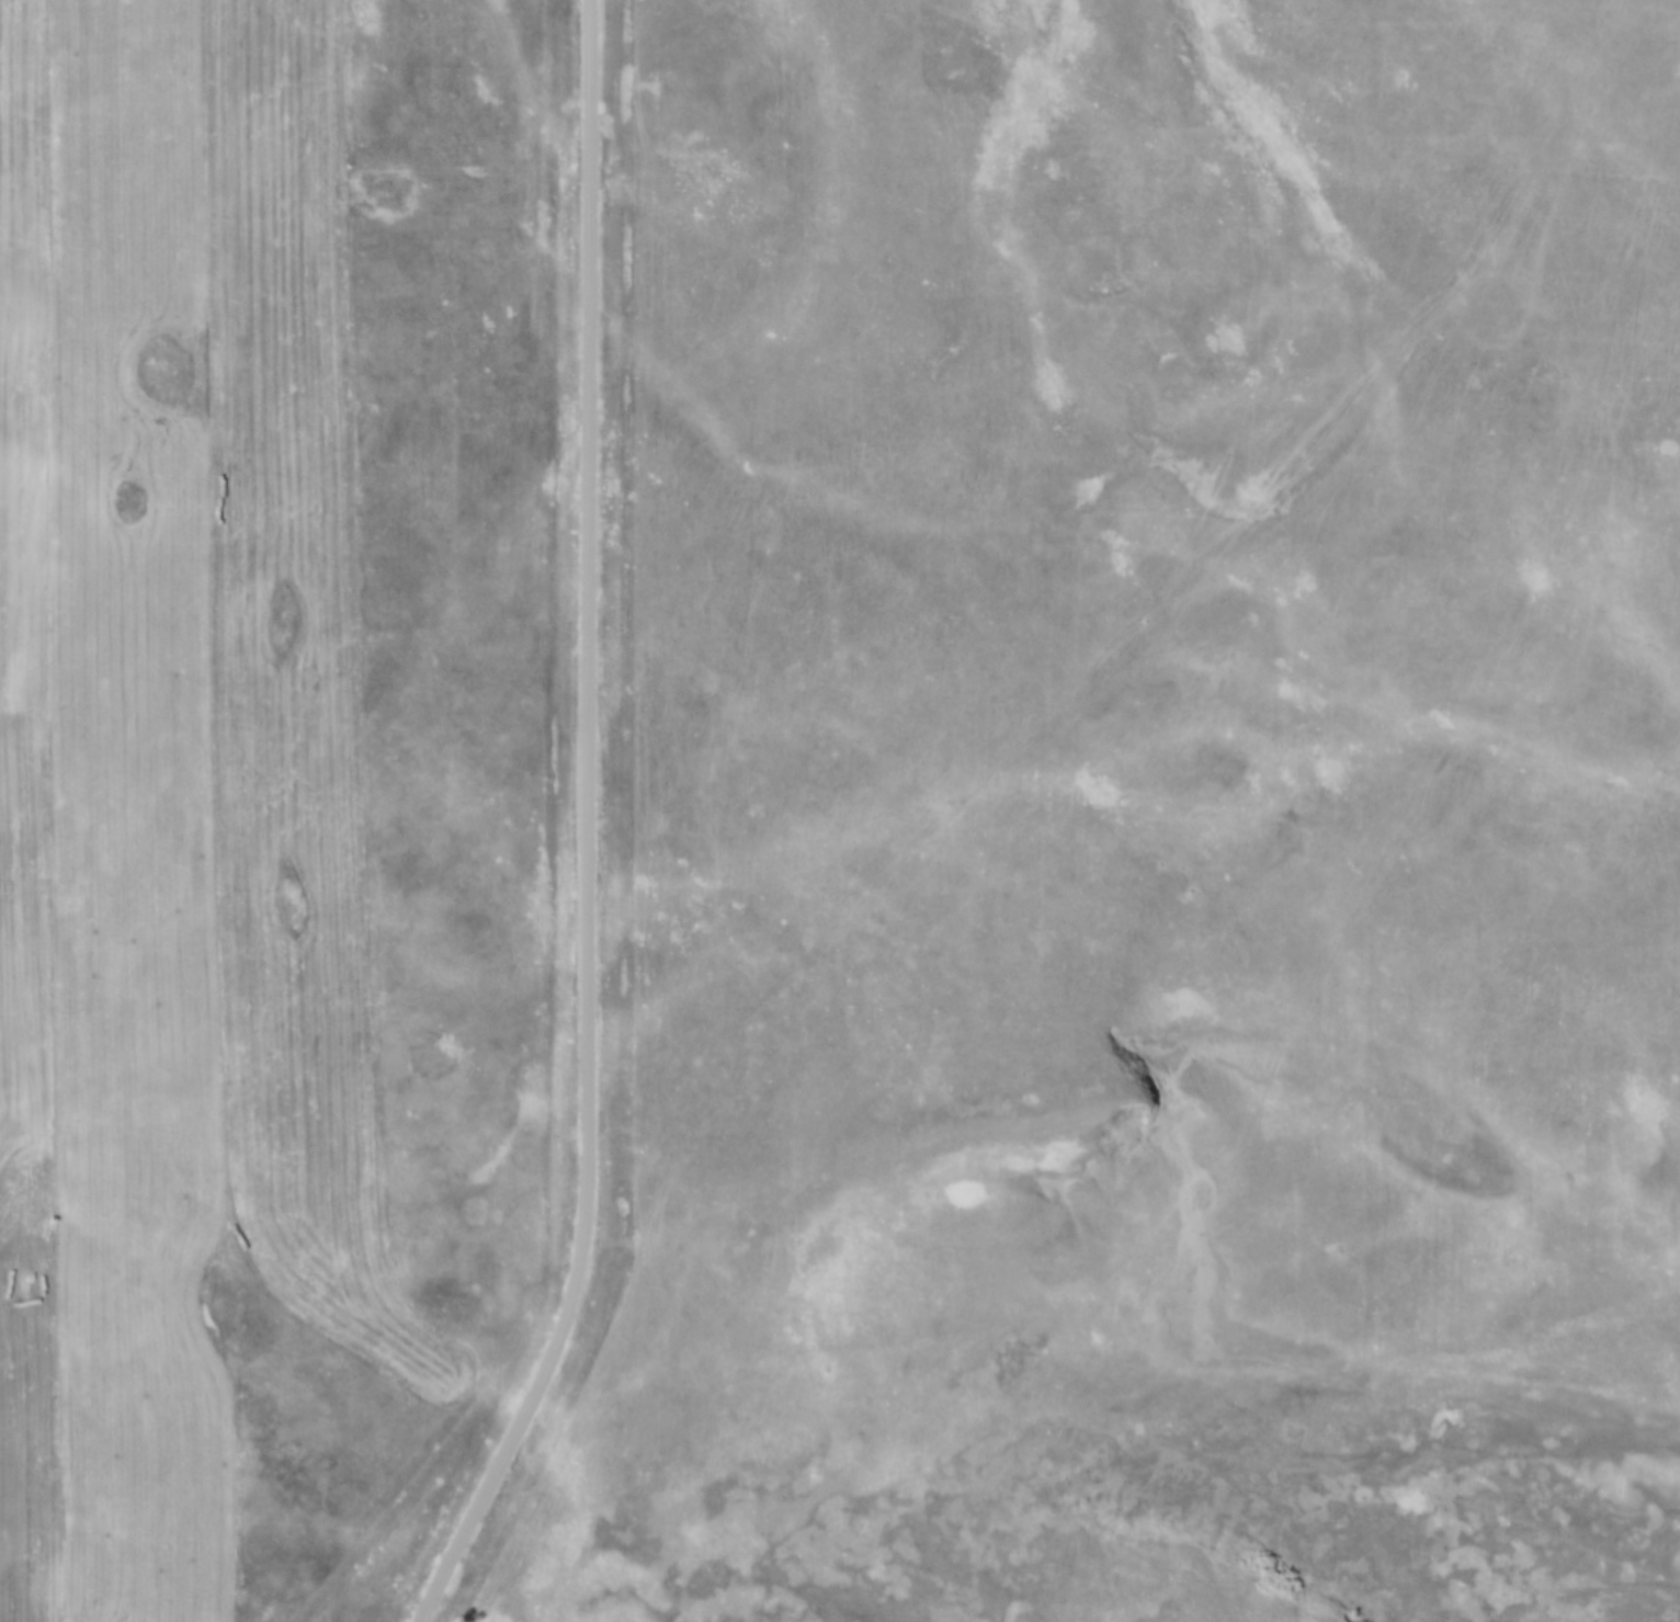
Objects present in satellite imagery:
road: (589, 830)

